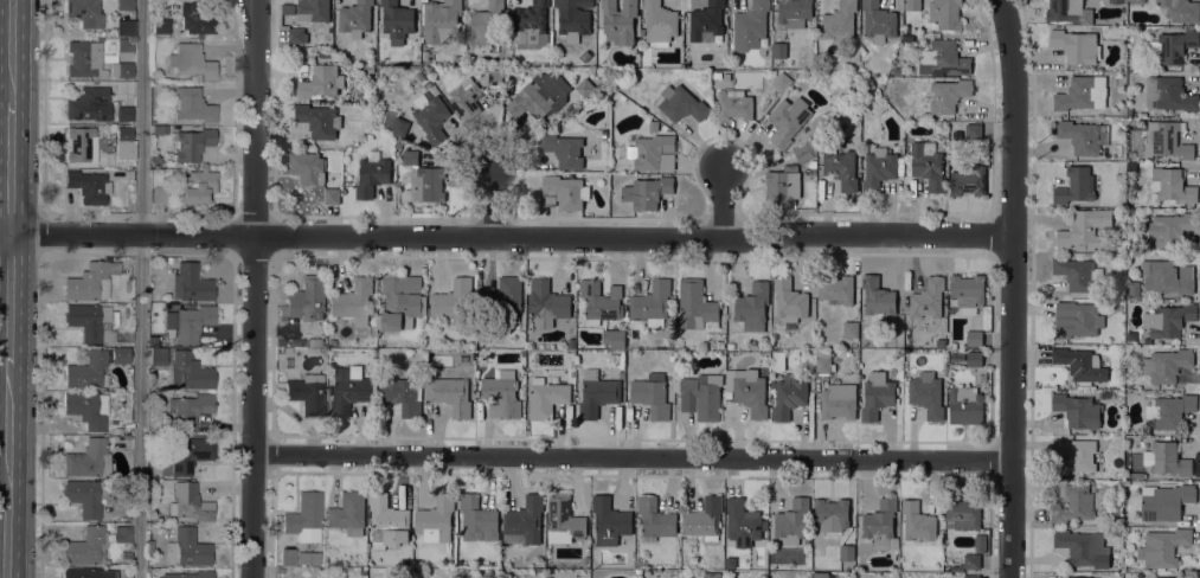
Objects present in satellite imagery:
building: (1117, 1)
building: (1136, 1)
building: (124, 5)
building: (913, 5)
building: (288, 8)
building: (314, 9)
building: (1064, 9)
building: (158, 11)
building: (1180, 11)
building: (794, 12)
building: (84, 13)
building: (945, 13)
building: (573, 15)
building: (355, 18)
building: (195, 19)
building: (441, 19)
building: (396, 20)
building: (532, 20)
building: (618, 20)
building: (706, 21)
building: (839, 21)
building: (878, 21)
building: (659, 23)
building: (750, 25)
building: (161, 26)
building: (486, 28)
building: (296, 36)
building: (130, 40)
building: (123, 45)
building: (1074, 45)
building: (1172, 46)
building: (110, 47)
building: (778, 50)
building: (944, 58)
building: (84, 59)
building: (191, 60)
building: (121, 69)
building: (897, 71)
building: (493, 76)
building: (320, 81)
building: (438, 81)
building: (782, 81)
building: (585, 86)
building: (1082, 92)
building: (1168, 94)
building: (540, 95)
building: (949, 95)
building: (466, 98)
building: (88, 103)
building: (681, 103)
building: (733, 103)
building: (191, 104)
building: (123, 114)
road: (8, 116)
building: (430, 116)
building: (319, 120)
building: (788, 120)
building: (399, 124)
building: (653, 126)
building: (159, 130)
building: (973, 130)
building: (1084, 135)
building: (1168, 140)
building: (81, 143)
building: (191, 143)
building: (124, 147)
building: (564, 149)
building: (806, 150)
building: (653, 152)
building: (410, 156)
building: (155, 160)
building: (813, 163)
building: (928, 165)
building: (308, 167)
building: (841, 168)
building: (879, 169)
building: (372, 175)
building: (968, 179)
building: (426, 182)
building: (1170, 185)
building: (88, 186)
building: (1076, 186)
building: (195, 187)
building: (782, 187)
building: (564, 192)
building: (646, 192)
building: (158, 194)
building: (332, 195)
road: (499, 203)
road: (725, 203)
building: (1170, 227)
building: (1085, 229)
road: (506, 239)
building: (169, 261)
building: (1077, 272)
building: (1167, 276)
building: (90, 281)
building: (191, 283)
road: (139, 288)
road: (252, 288)
building: (836, 288)
road: (1010, 288)
building: (1134, 288)
building: (968, 290)
building: (505, 297)
building: (877, 297)
building: (307, 298)
building: (928, 298)
road: (7, 300)
building: (546, 300)
building: (789, 300)
building: (354, 301)
building: (400, 301)
building: (451, 301)
building: (601, 301)
building: (652, 302)
building: (695, 304)
building: (752, 306)
building: (1074, 319)
building: (1168, 320)
building: (90, 322)
building: (192, 322)
building: (851, 329)
building: (614, 338)
building: (974, 338)
building: (332, 342)
building: (720, 345)
building: (730, 345)
building: (120, 355)
building: (158, 355)
building: (463, 358)
building: (974, 358)
building: (777, 360)
building: (822, 361)
building: (1079, 364)
building: (1166, 365)
building: (86, 371)
building: (190, 371)
building: (571, 373)
building: (747, 390)
building: (348, 391)
building: (597, 392)
building: (451, 393)
building: (307, 394)
building: (403, 394)
building: (501, 394)
building: (652, 394)
building: (877, 394)
building: (926, 394)
building: (702, 396)
building: (788, 396)
building: (546, 398)
building: (838, 400)
building: (965, 404)
building: (86, 409)
building: (188, 410)
building: (1078, 410)
building: (1168, 411)
road: (6, 432)
building: (187, 456)
road: (631, 456)
building: (1077, 457)
building: (1166, 458)
building: (88, 460)
building: (1137, 474)
building: (85, 496)
building: (1164, 501)
building: (190, 503)
building: (1074, 505)
building: (348, 513)
building: (834, 513)
building: (962, 513)
building: (303, 518)
building: (655, 518)
building: (476, 519)
building: (564, 519)
building: (704, 519)
building: (791, 520)
building: (387, 521)
building: (436, 521)
building: (524, 521)
building: (609, 521)
building: (917, 521)
building: (743, 522)
building: (881, 525)
road: (6, 538)
building: (980, 542)
building: (92, 545)
building: (149, 546)
building: (1083, 547)
building: (1162, 547)
building: (187, 548)
building: (847, 552)
building: (126, 555)
building: (287, 557)
building: (308, 557)
building: (971, 560)
building: (404, 561)
building: (730, 561)
building: (82, 573)
building: (820, 573)
building: (192, 574)
building: (712, 574)
building: (971, 576)
building: (1078, 577)
building: (1166, 577)

